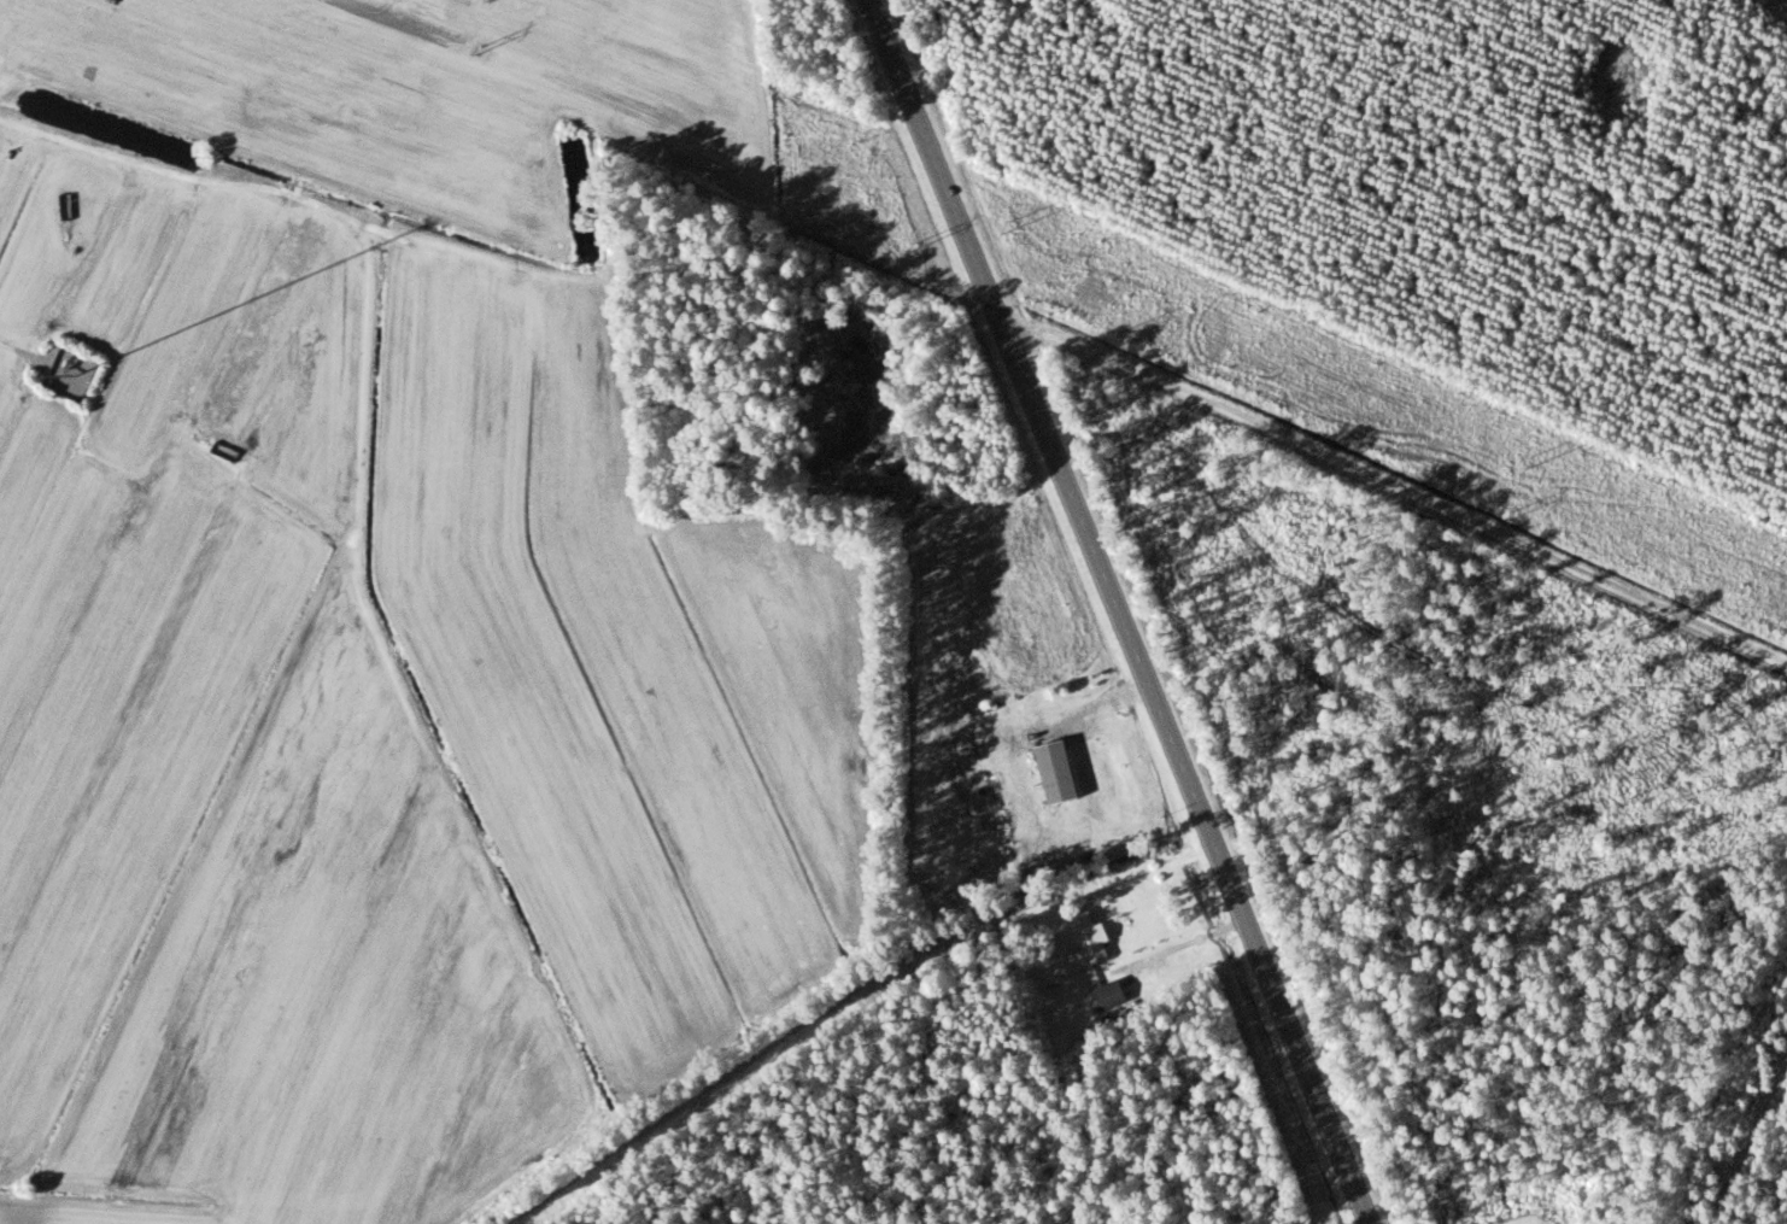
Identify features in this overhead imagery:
power tower: (477, 53)
power tower: (1004, 229)
power tower: (906, 246)
power tower: (1106, 335)
building: (68, 374)
building: (222, 451)
power tower: (1524, 461)
power tower: (1513, 517)
road: (1120, 611)
building: (1050, 771)
building: (1084, 937)
building: (1103, 995)

